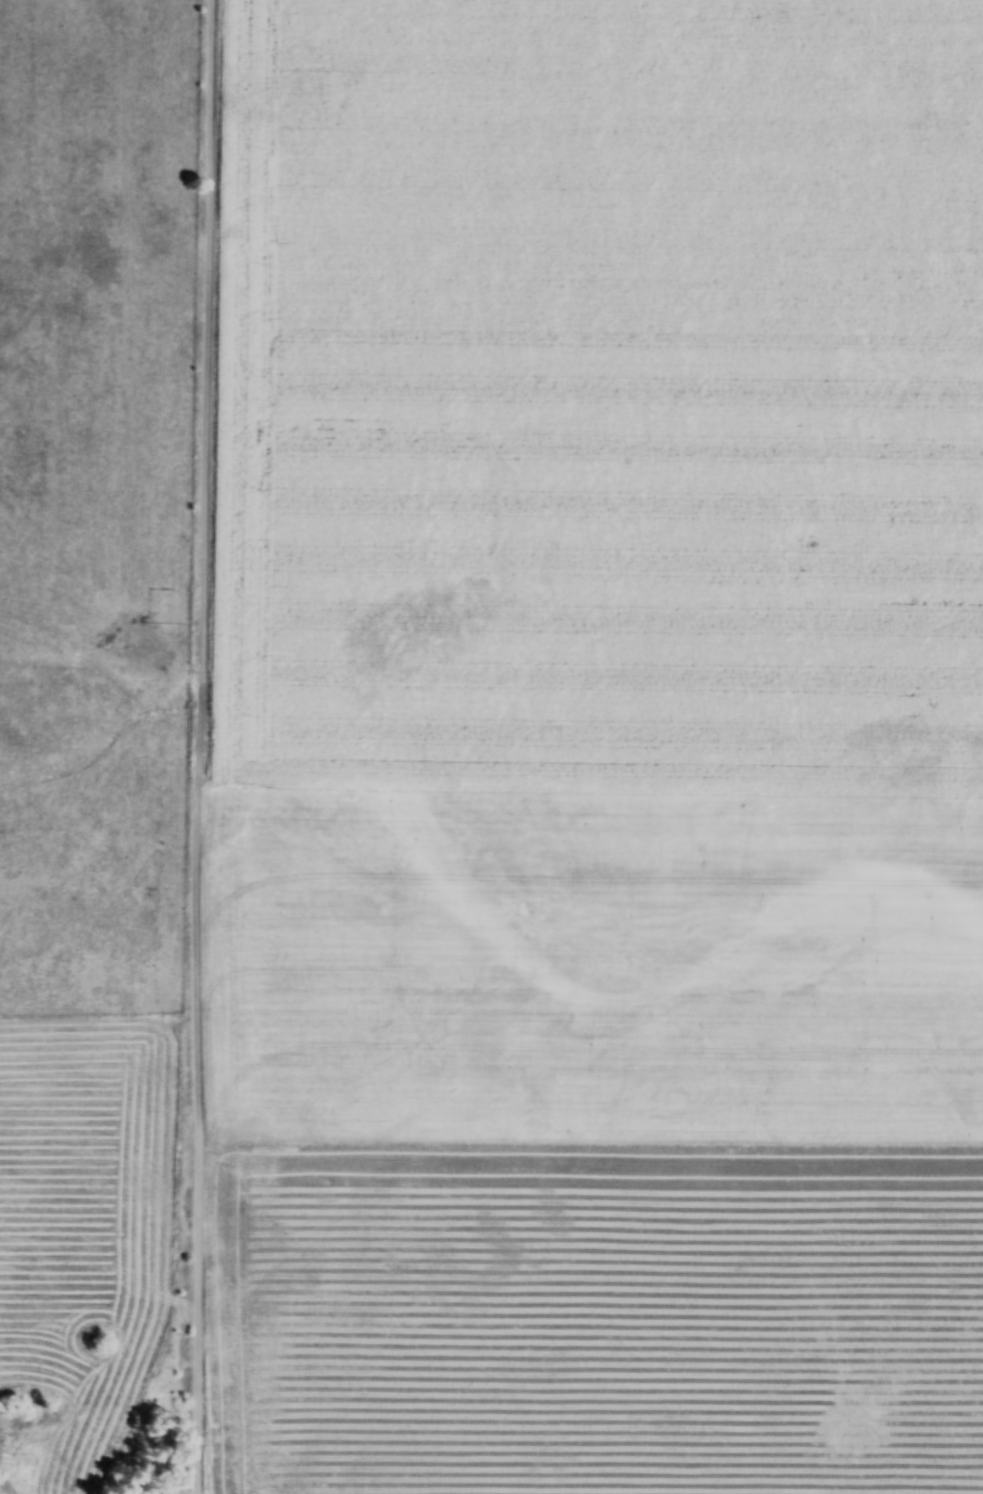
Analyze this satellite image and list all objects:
road: (206, 747)

